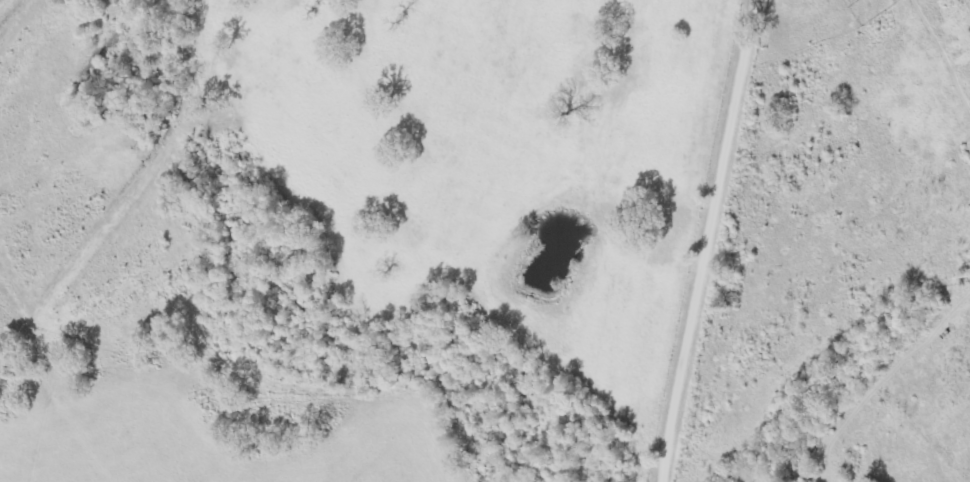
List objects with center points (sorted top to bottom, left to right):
road: (942, 57)
road: (704, 241)

